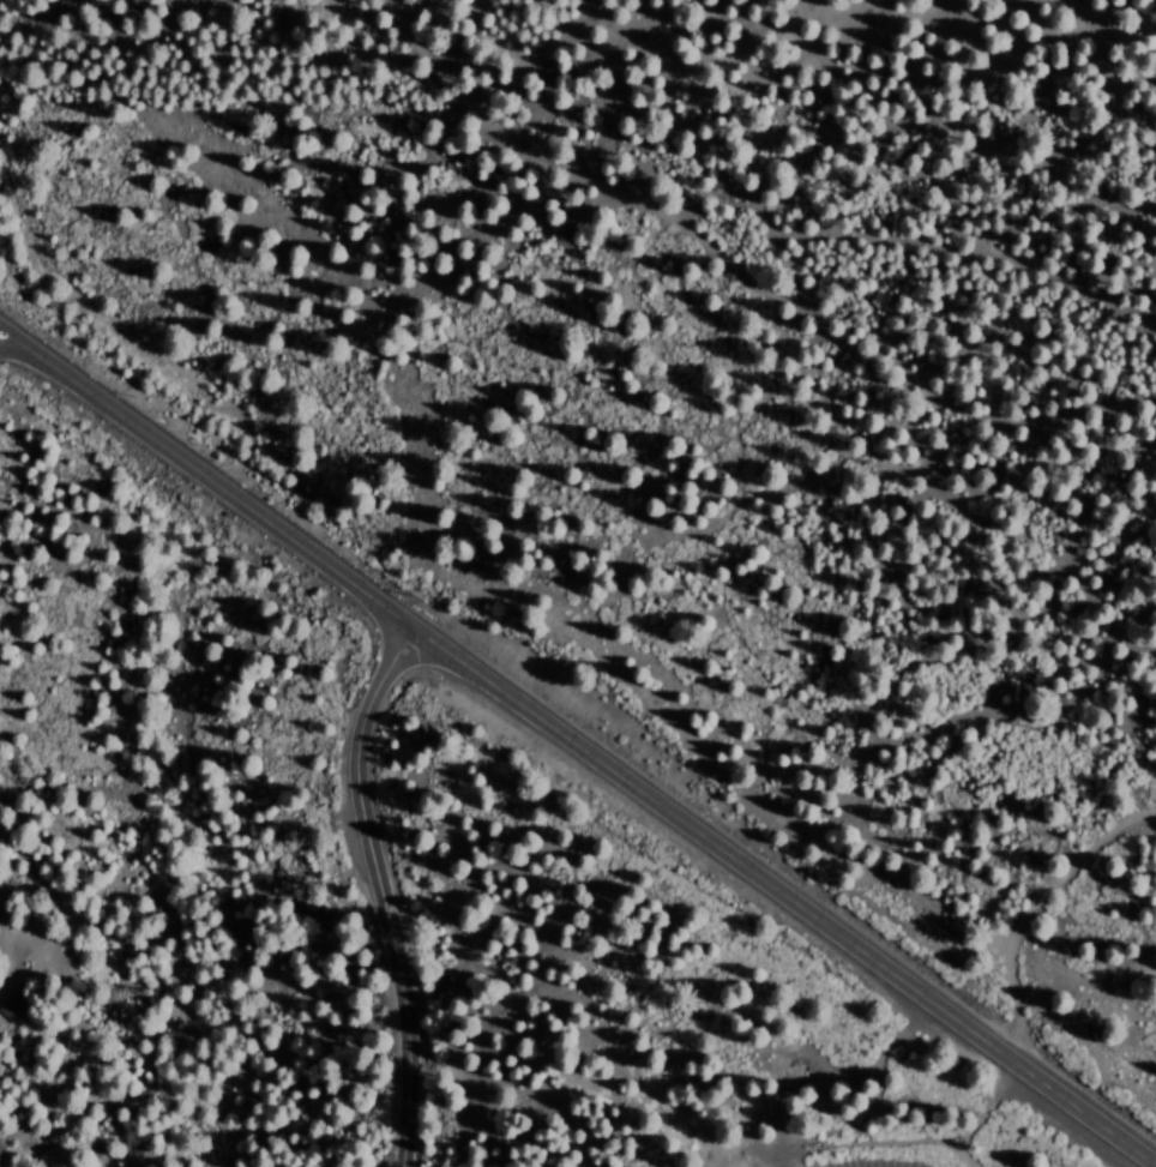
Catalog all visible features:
road: (571, 748)
road: (374, 892)
road: (1055, 933)
parking lot: (878, 1161)

